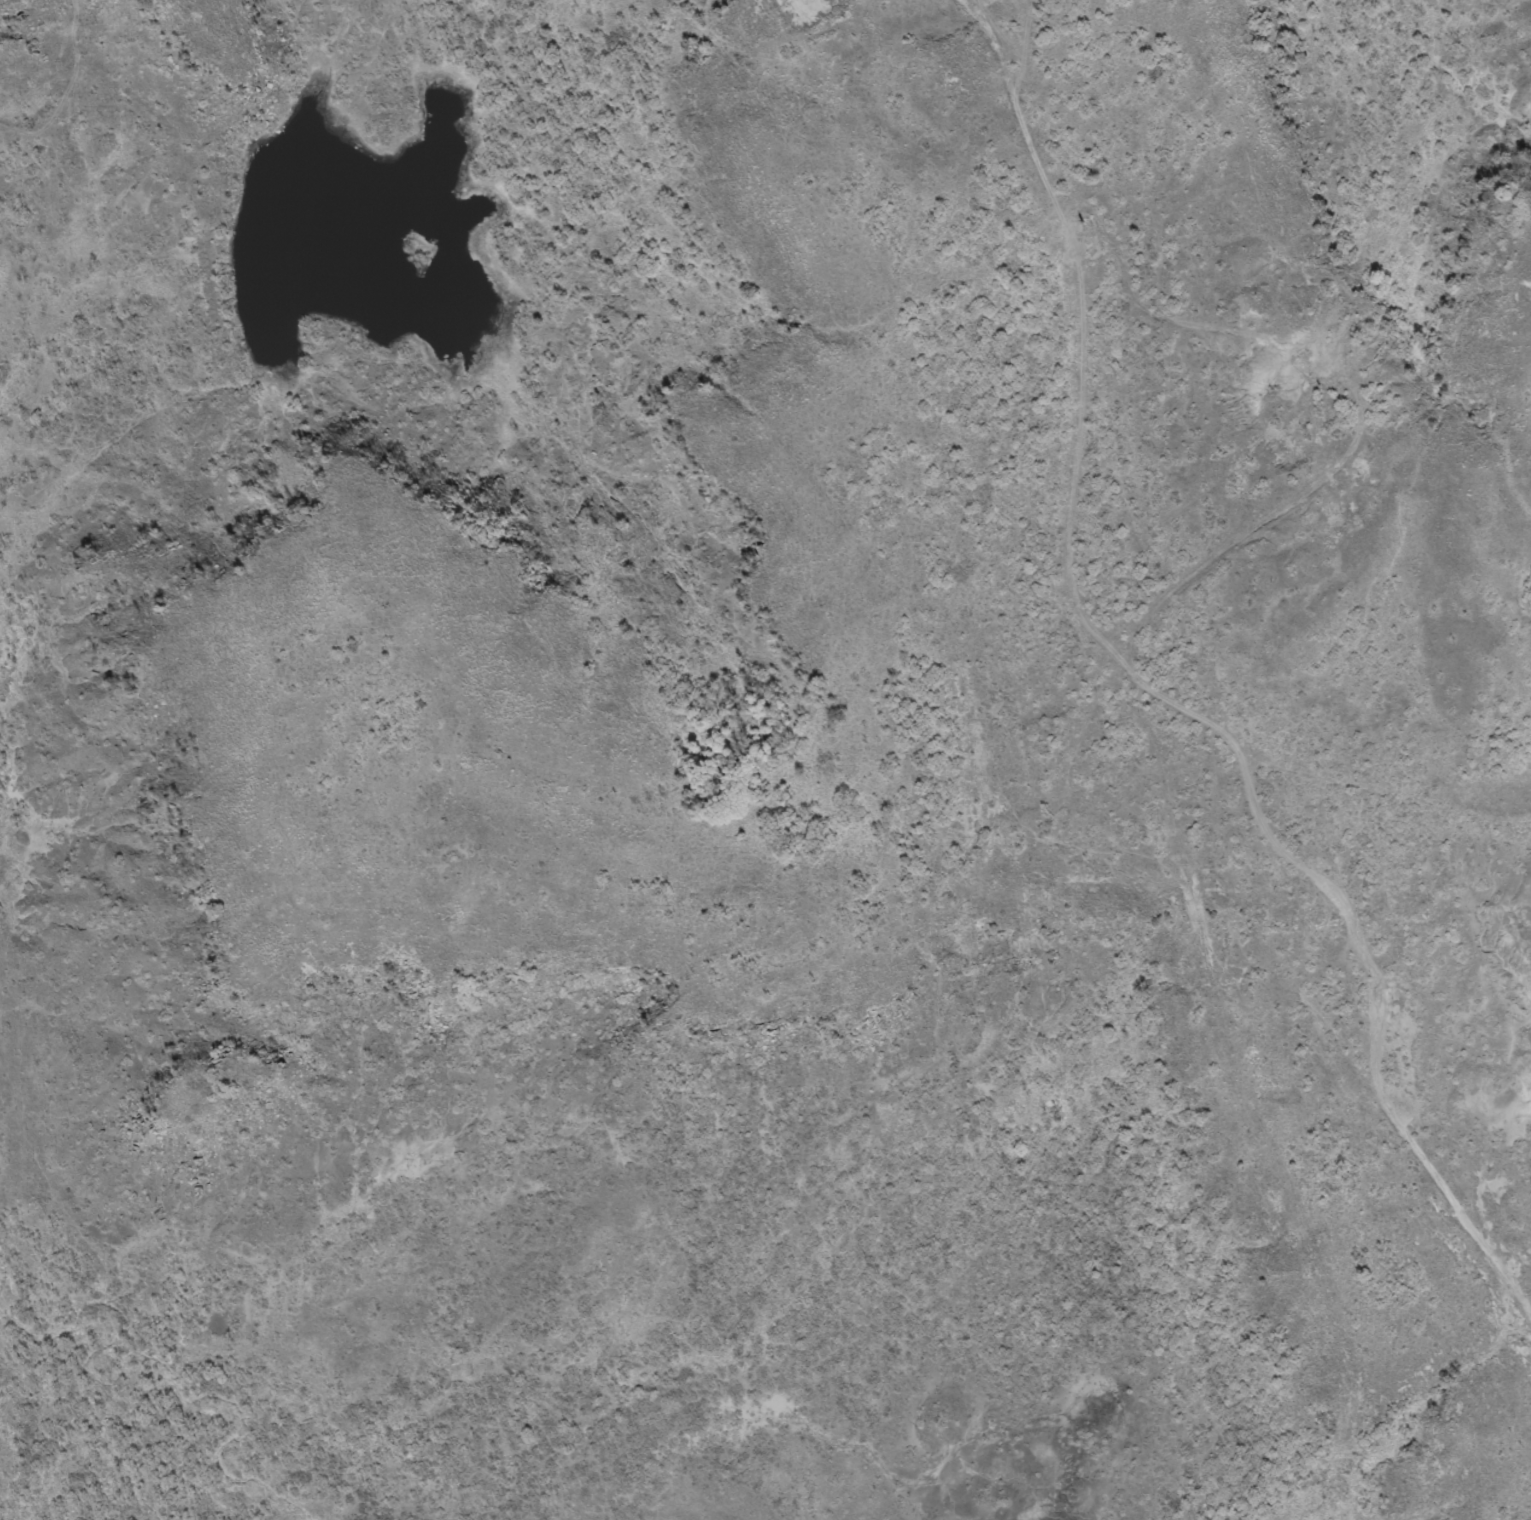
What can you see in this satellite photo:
road: (931, 778)

